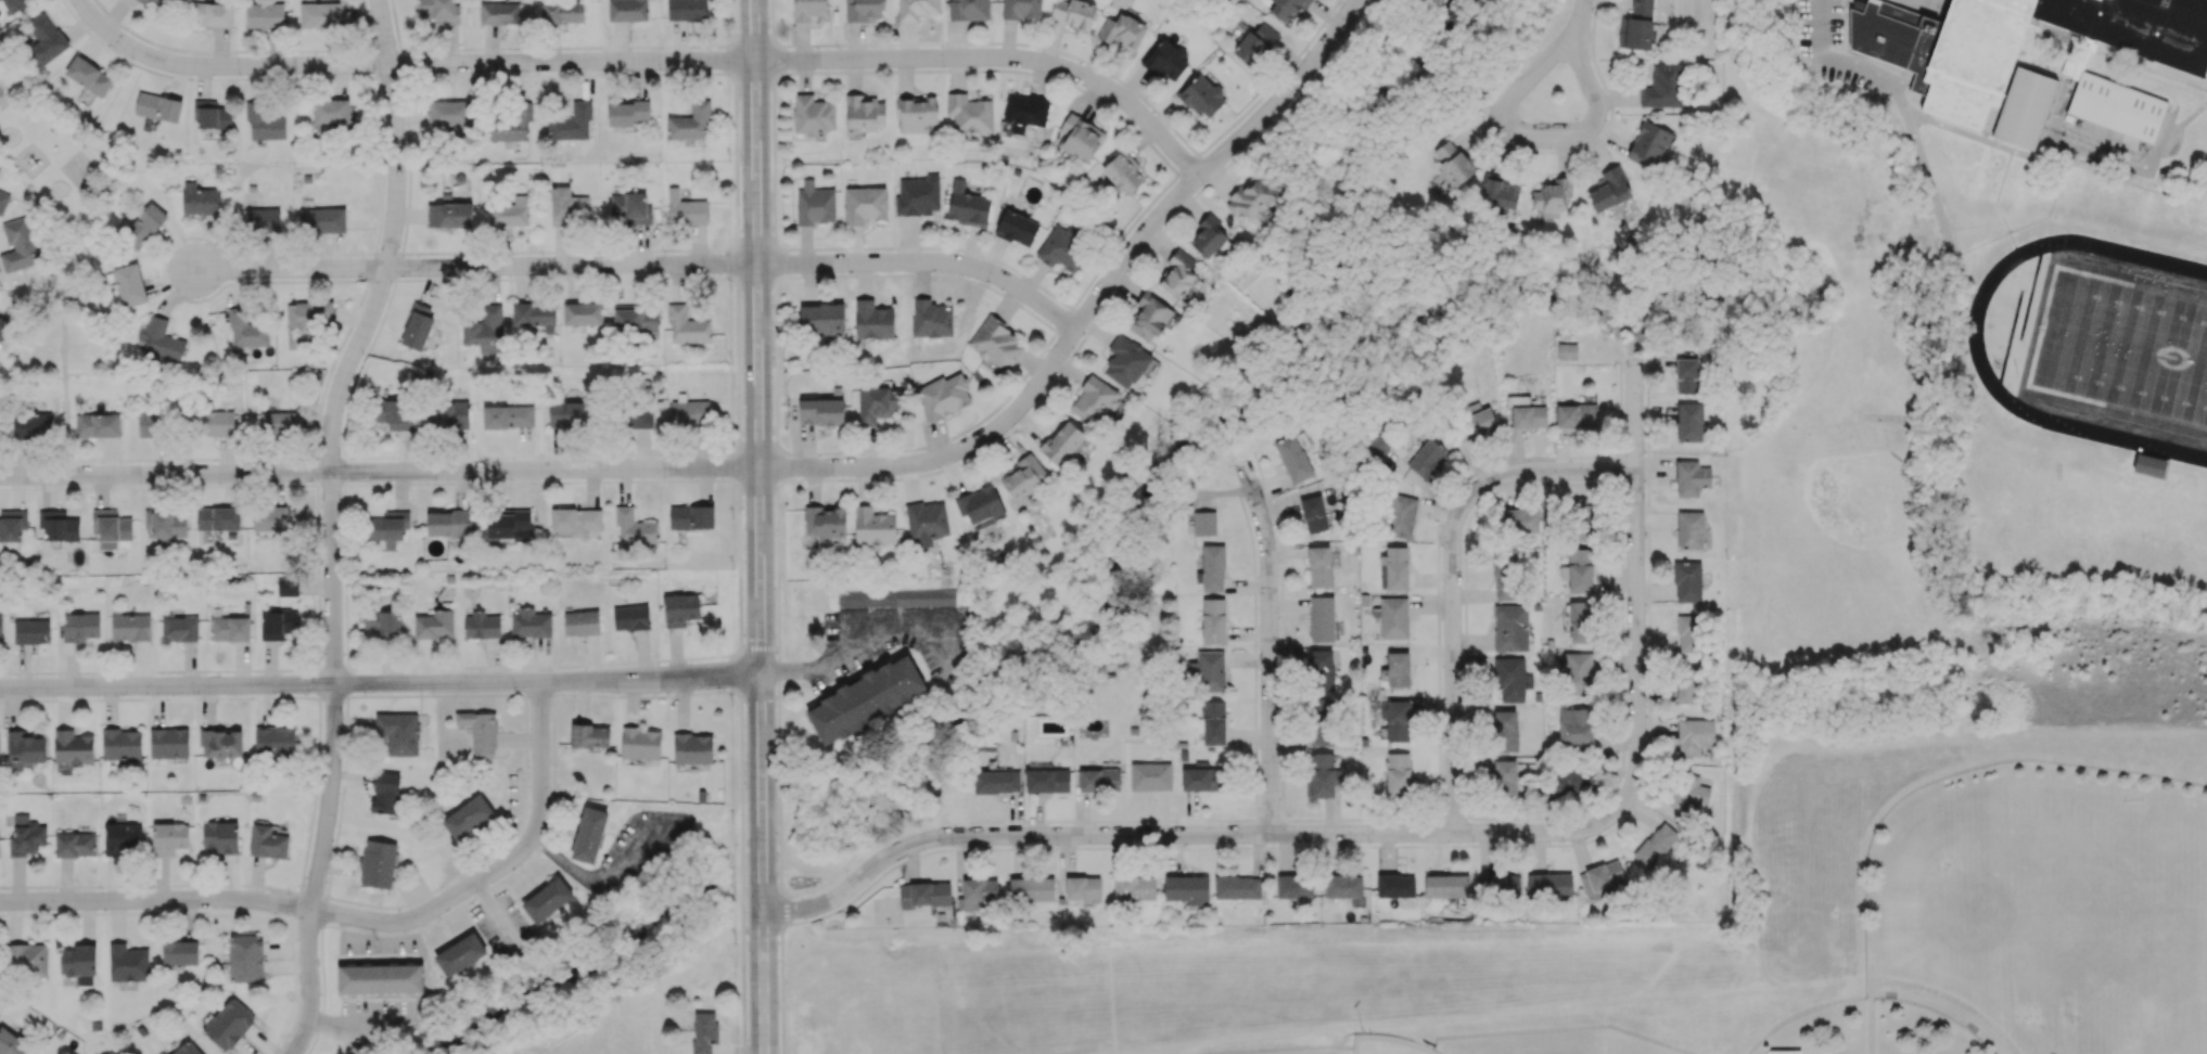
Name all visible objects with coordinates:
building: (143, 1)
building: (161, 2)
building: (14, 5)
building: (1287, 8)
building: (916, 9)
building: (1021, 9)
building: (439, 10)
building: (627, 10)
building: (687, 10)
building: (809, 10)
building: (863, 10)
building: (969, 10)
building: (561, 11)
building: (499, 13)
building: (1073, 13)
building: (209, 14)
building: (264, 15)
building: (319, 15)
road: (1579, 23)
building: (1636, 26)
building: (1122, 31)
parking lot: (1846, 38)
building: (44, 39)
building: (1253, 43)
road: (1002, 59)
road: (405, 66)
building: (88, 76)
building: (1988, 79)
building: (1664, 86)
building: (1201, 95)
road: (1284, 99)
road: (1900, 103)
road: (118, 105)
building: (157, 107)
building: (331, 111)
building: (626, 112)
building: (1024, 112)
road: (48, 113)
building: (866, 113)
building: (917, 113)
building: (969, 113)
building: (212, 115)
building: (450, 115)
building: (813, 115)
building: (264, 123)
building: (572, 123)
building: (691, 123)
building: (510, 124)
road: (1507, 129)
building: (1081, 137)
building: (1649, 143)
building: (1453, 163)
building: (1122, 171)
road: (31, 185)
building: (1610, 190)
building: (1501, 192)
building: (917, 195)
building: (1552, 196)
building: (1251, 200)
building: (3, 201)
building: (200, 202)
building: (814, 204)
building: (864, 204)
building: (567, 205)
building: (967, 205)
building: (630, 207)
building: (685, 209)
building: (510, 213)
road: (73, 214)
building: (449, 215)
building: (261, 219)
building: (322, 219)
building: (144, 224)
building: (1017, 228)
building: (1207, 236)
building: (18, 245)
building: (1061, 248)
park: (72, 250)
road: (1132, 257)
road: (927, 266)
road: (574, 268)
road: (288, 269)
building: (1175, 278)
building: (129, 284)
road: (33, 288)
road: (65, 304)
building: (583, 313)
building: (534, 316)
building: (1149, 317)
building: (821, 318)
building: (931, 319)
building: (306, 320)
building: (635, 320)
building: (872, 320)
building: (417, 326)
building: (687, 326)
building: (246, 330)
building: (485, 331)
building: (1, 332)
road: (1974, 334)
building: (162, 339)
building: (996, 344)
building: (1567, 350)
park: (2126, 351)
building: (1125, 361)
building: (1686, 375)
road: (64, 395)
building: (943, 396)
building: (1095, 400)
building: (877, 403)
building: (688, 411)
building: (821, 411)
building: (448, 412)
building: (393, 413)
building: (570, 413)
building: (1577, 415)
building: (508, 416)
building: (1529, 416)
building: (639, 417)
building: (1471, 422)
building: (1689, 422)
building: (215, 423)
building: (277, 423)
building: (31, 424)
building: (151, 424)
building: (99, 425)
building: (1061, 442)
park: (1802, 448)
road: (331, 449)
park: (1782, 453)
building: (1292, 458)
building: (1426, 458)
road: (943, 459)
building: (2149, 467)
road: (379, 473)
road: (1493, 476)
building: (1691, 477)
building: (982, 505)
building: (1329, 507)
building: (1313, 514)
building: (1400, 515)
building: (691, 516)
building: (218, 518)
building: (269, 518)
building: (1581, 518)
building: (825, 520)
building: (1520, 520)
building: (575, 522)
building: (447, 523)
building: (926, 523)
building: (1203, 523)
building: (12, 524)
building: (509, 524)
building: (59, 525)
building: (165, 526)
road: (760, 526)
building: (873, 526)
building: (634, 527)
building: (110, 528)
building: (388, 528)
building: (1689, 530)
park: (1830, 536)
building: (1319, 566)
building: (1213, 567)
building: (1394, 568)
building: (1579, 570)
building: (1505, 577)
building: (1687, 581)
road: (1635, 584)
building: (286, 587)
building: (895, 597)
building: (679, 609)
building: (630, 617)
building: (1321, 618)
building: (1393, 618)
building: (1213, 620)
building: (1580, 621)
building: (581, 622)
building: (278, 624)
building: (383, 624)
building: (531, 624)
building: (0, 625)
building: (434, 625)
building: (482, 625)
building: (80, 626)
building: (130, 627)
building: (178, 627)
building: (1509, 627)
building: (229, 629)
building: (31, 631)
building: (1689, 633)
road: (757, 647)
road: (1268, 647)
road: (849, 651)
road: (676, 658)
building: (1322, 669)
building: (1210, 671)
building: (1395, 671)
building: (1575, 672)
road: (731, 673)
building: (1510, 679)
road: (380, 683)
building: (1688, 684)
road: (557, 693)
road: (539, 695)
building: (866, 698)
road: (1453, 717)
building: (1396, 720)
building: (1213, 722)
building: (1319, 722)
building: (1575, 725)
building: (1505, 730)
building: (398, 732)
building: (480, 732)
building: (1694, 735)
building: (589, 736)
building: (275, 741)
building: (168, 743)
building: (221, 743)
building: (640, 743)
building: (122, 744)
building: (25, 747)
building: (73, 748)
building: (692, 748)
building: (1398, 774)
building: (1319, 775)
building: (1150, 776)
building: (1505, 776)
building: (1202, 777)
building: (1570, 779)
building: (1047, 780)
building: (1098, 780)
building: (996, 781)
building: (1688, 792)
building: (385, 793)
building: (468, 817)
road: (1183, 833)
building: (589, 835)
building: (26, 836)
building: (220, 836)
building: (169, 837)
building: (122, 838)
building: (267, 841)
building: (75, 844)
building: (1655, 845)
building: (378, 863)
road: (498, 866)
building: (1600, 879)
building: (1549, 885)
building: (1293, 886)
building: (1343, 886)
building: (1395, 886)
building: (1446, 886)
building: (1497, 886)
building: (1082, 887)
building: (1134, 887)
building: (1237, 887)
building: (1186, 888)
building: (1032, 891)
building: (977, 894)
building: (924, 895)
road: (155, 899)
building: (547, 899)
park: (2017, 909)
park: (2130, 933)
building: (180, 952)
building: (460, 954)
building: (245, 957)
building: (26, 960)
building: (78, 960)
building: (127, 963)
building: (379, 979)
road: (309, 984)
building: (1891, 994)
building: (229, 1024)
building: (1973, 1028)
building: (703, 1031)
building: (11, 1043)
building: (189, 1047)
road: (739, 1051)
building: (1784, 1052)

